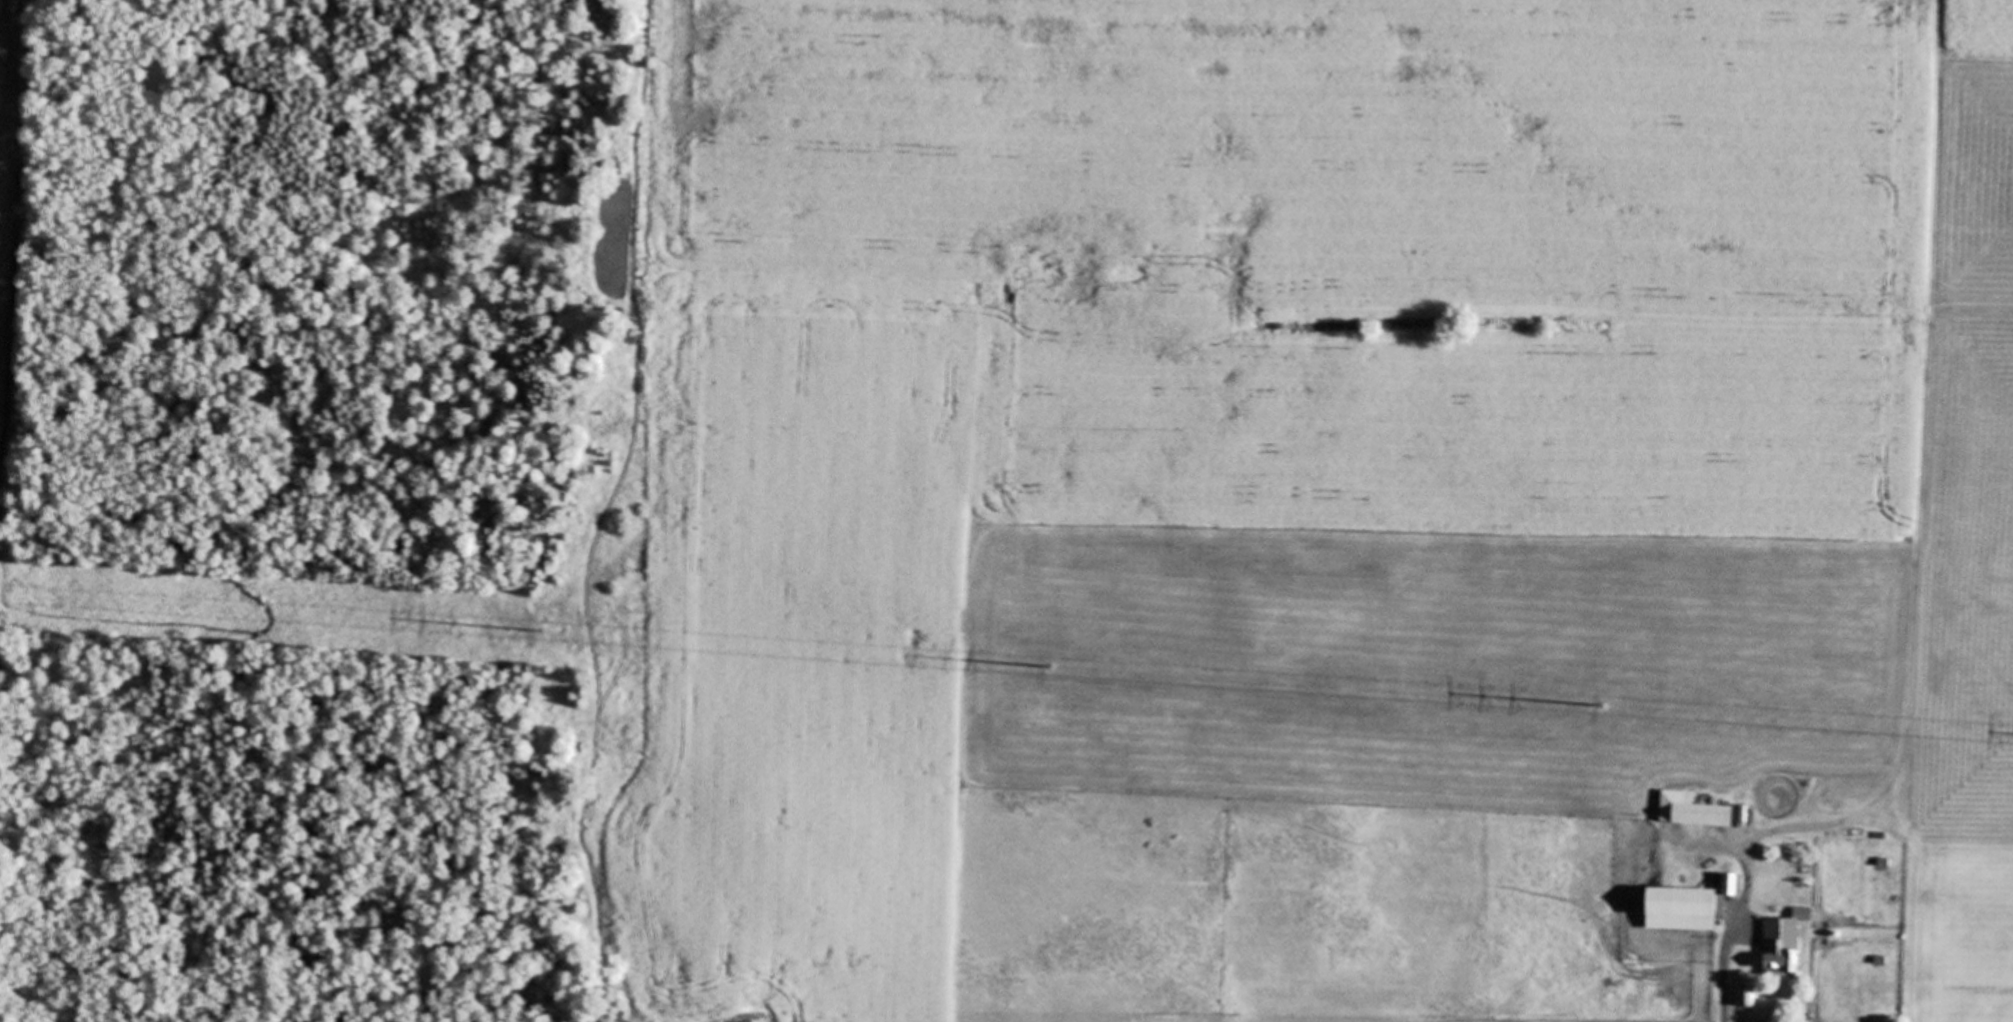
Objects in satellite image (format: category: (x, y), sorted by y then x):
power tower: (540, 629)
power tower: (1051, 665)
power tower: (1602, 705)
building: (1698, 814)
building: (1726, 884)
building: (1677, 909)
building: (1782, 940)
road: (1726, 981)
building: (1745, 997)

